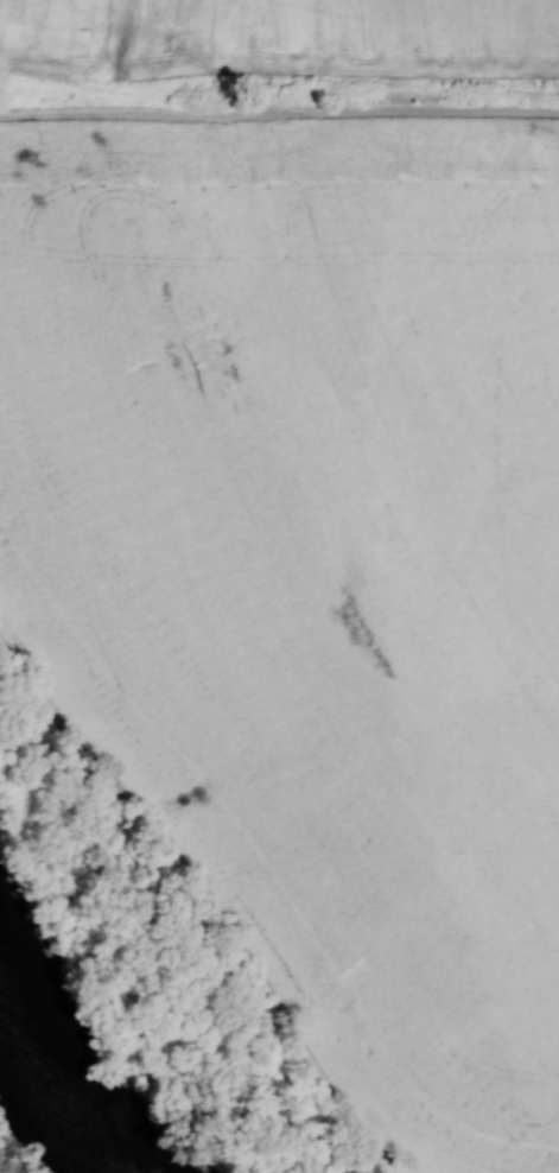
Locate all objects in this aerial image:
river: (62, 1074)

